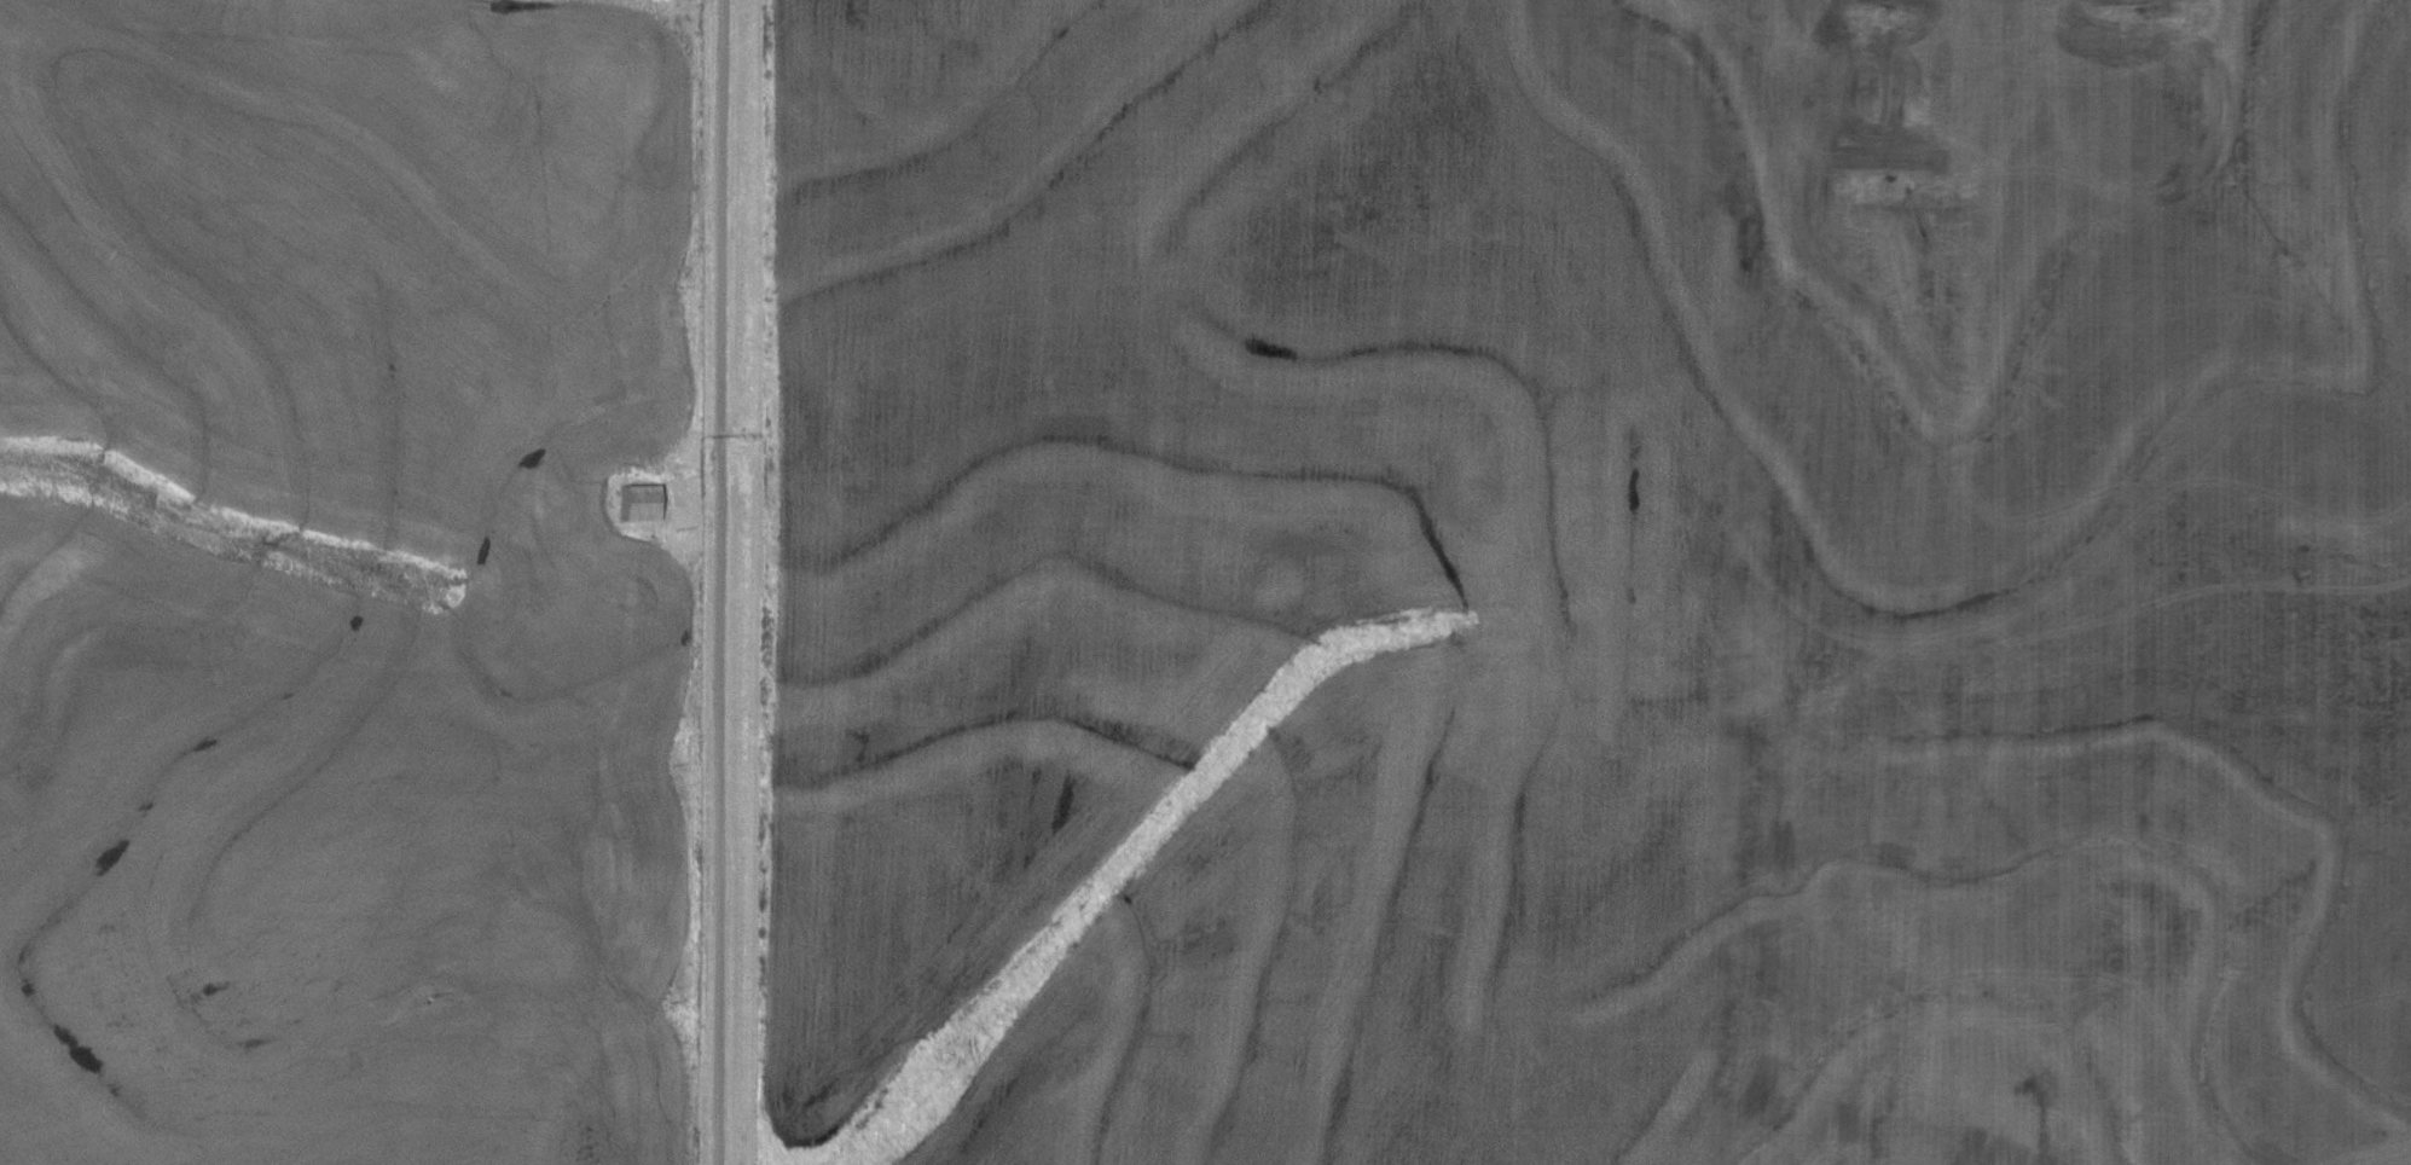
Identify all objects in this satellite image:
building: (634, 504)
road: (712, 581)

